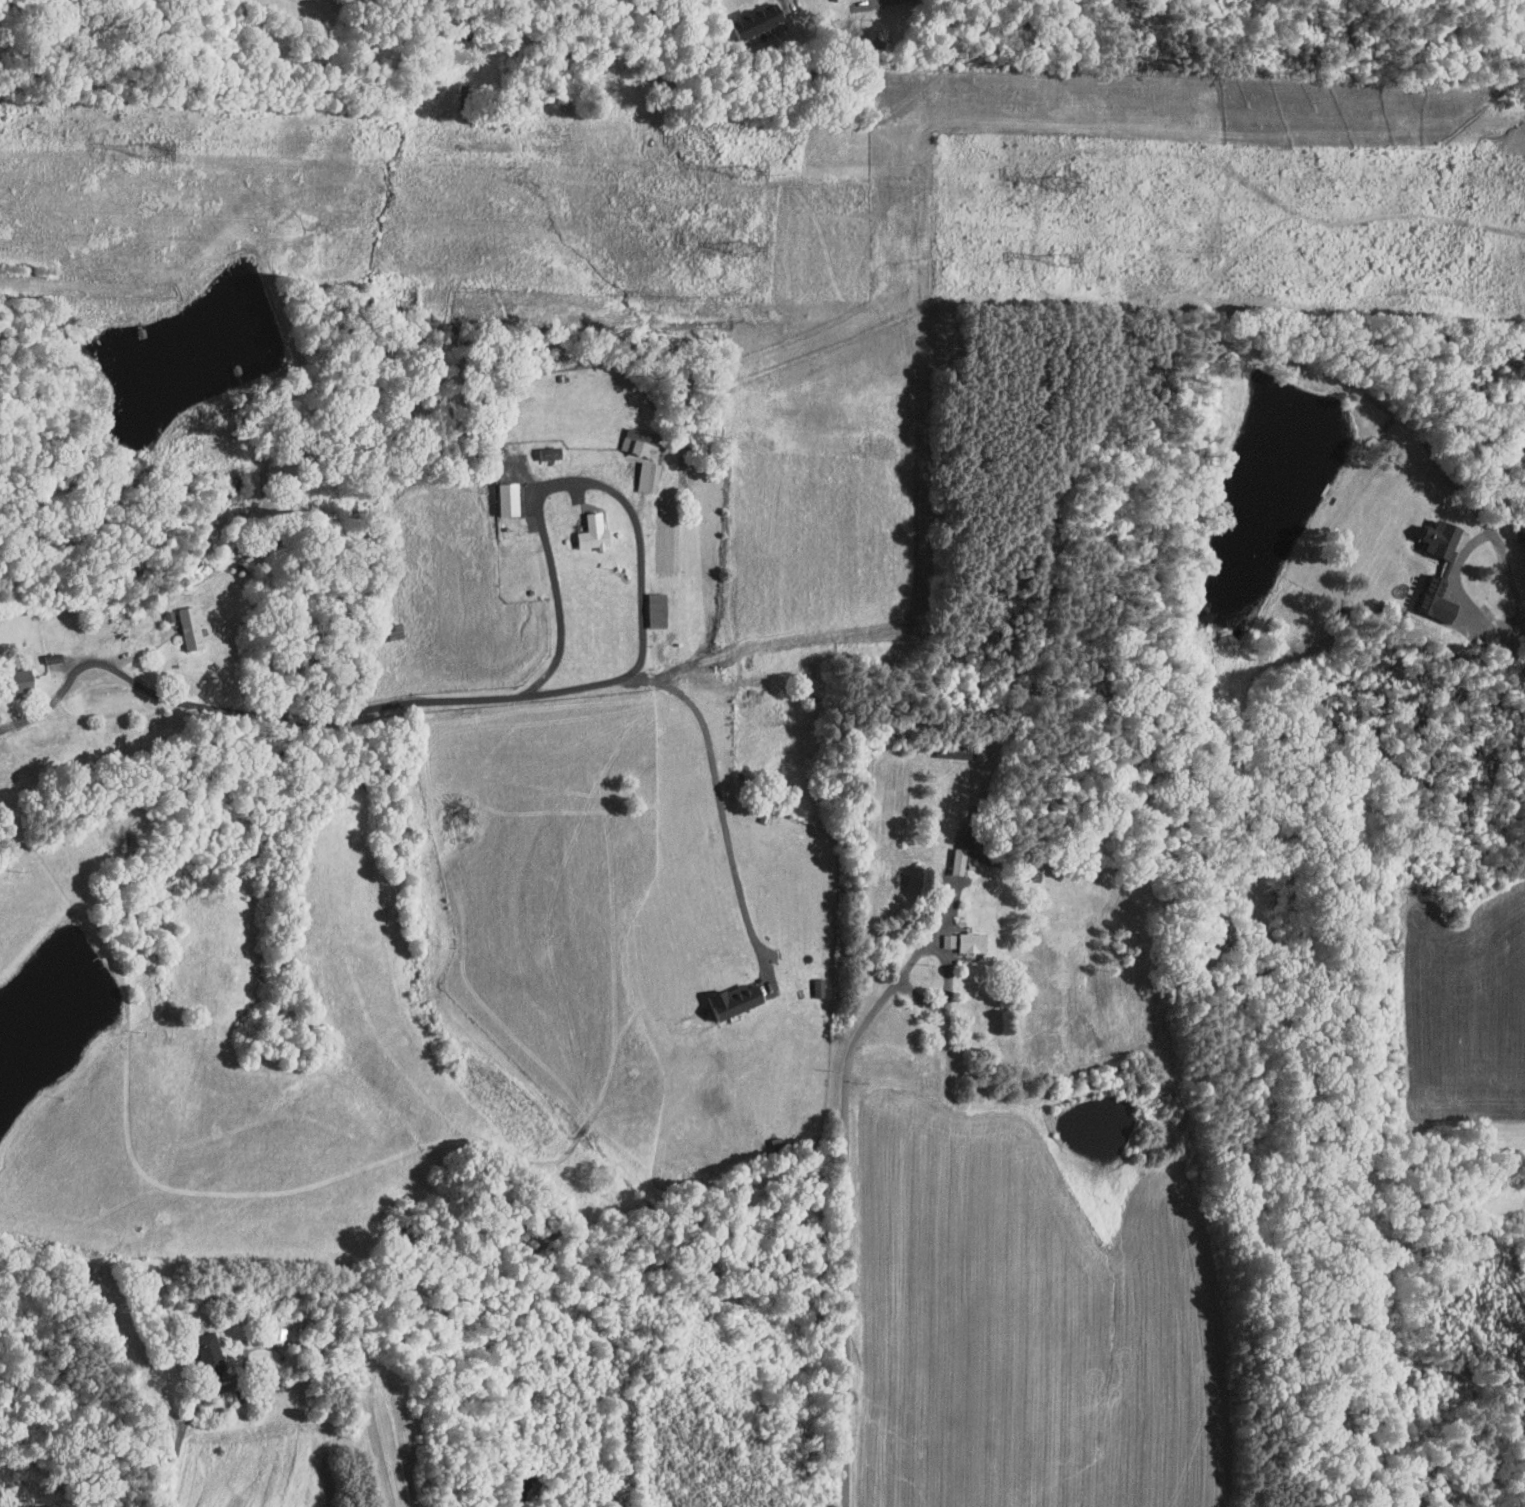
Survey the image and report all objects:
road: (786, 1)
road: (888, 1)
building: (746, 15)
building: (771, 21)
power tower: (158, 153)
power tower: (752, 172)
power tower: (1070, 184)
power tower: (747, 247)
power tower: (1065, 260)
building: (629, 437)
building: (541, 447)
building: (639, 471)
building: (500, 493)
road: (1457, 494)
building: (586, 527)
building: (1444, 538)
road: (1506, 568)
road: (642, 572)
building: (649, 604)
road: (912, 613)
building: (181, 622)
building: (16, 674)
road: (174, 698)
road: (720, 826)
building: (951, 854)
road: (935, 934)
building: (938, 934)
building: (963, 935)
building: (723, 994)
road: (949, 994)
road: (847, 1234)
building: (277, 1329)
building: (200, 1344)
road: (180, 1438)

